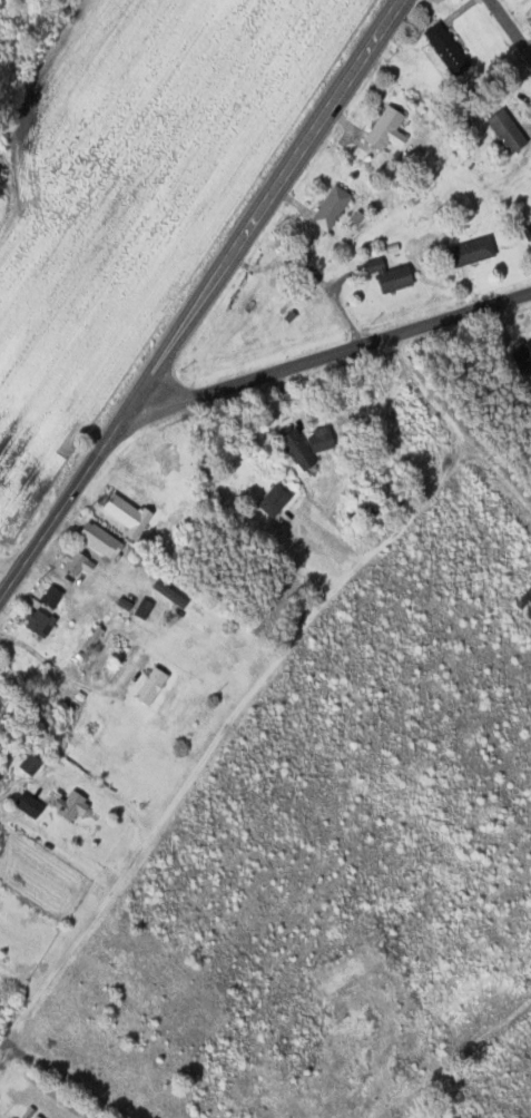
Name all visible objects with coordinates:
road: (509, 28)
building: (448, 48)
building: (389, 130)
building: (508, 131)
building: (332, 208)
building: (473, 252)
building: (391, 275)
road: (200, 298)
road: (328, 352)
building: (523, 356)
building: (307, 445)
building: (275, 500)
building: (127, 512)
building: (101, 540)
building: (78, 562)
road: (7, 571)
building: (52, 596)
building: (38, 620)
building: (150, 686)
road: (255, 689)
building: (31, 764)
building: (30, 805)
building: (70, 806)
building: (3, 1003)

